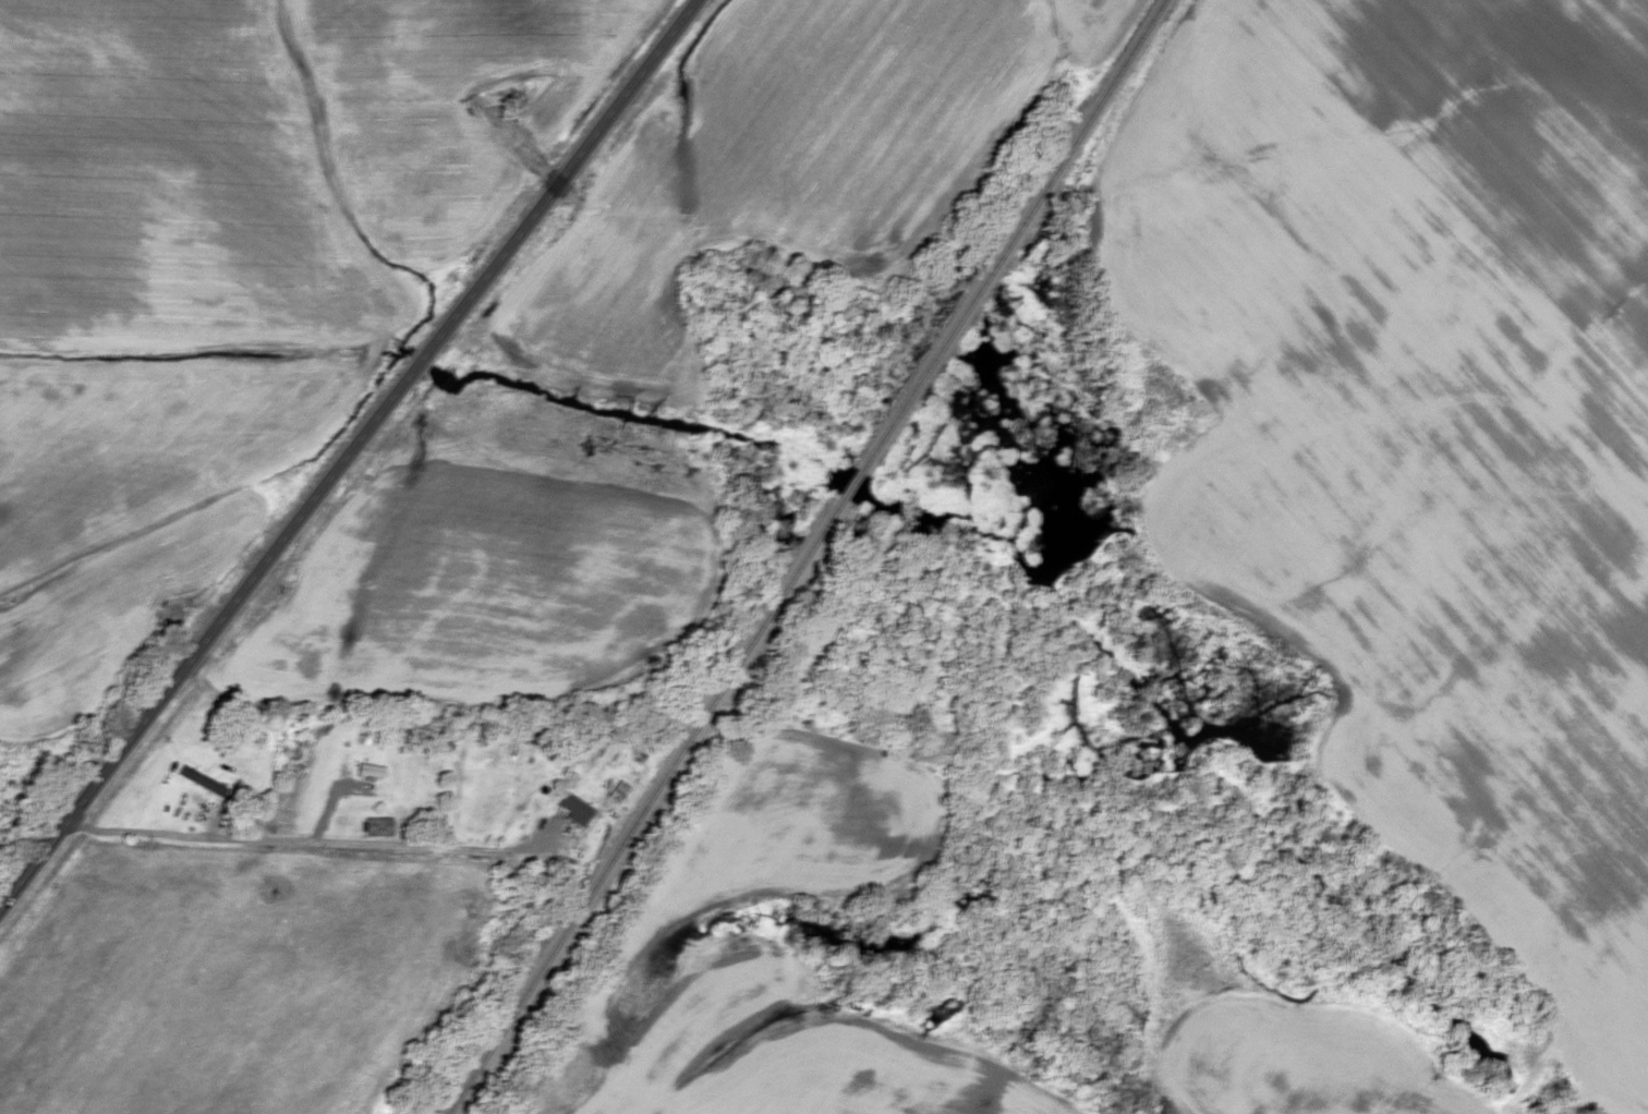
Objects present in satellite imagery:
building: (524, 106)
road: (348, 452)
railway: (812, 558)
building: (369, 768)
building: (199, 780)
building: (569, 803)
building: (376, 827)
road: (293, 840)

